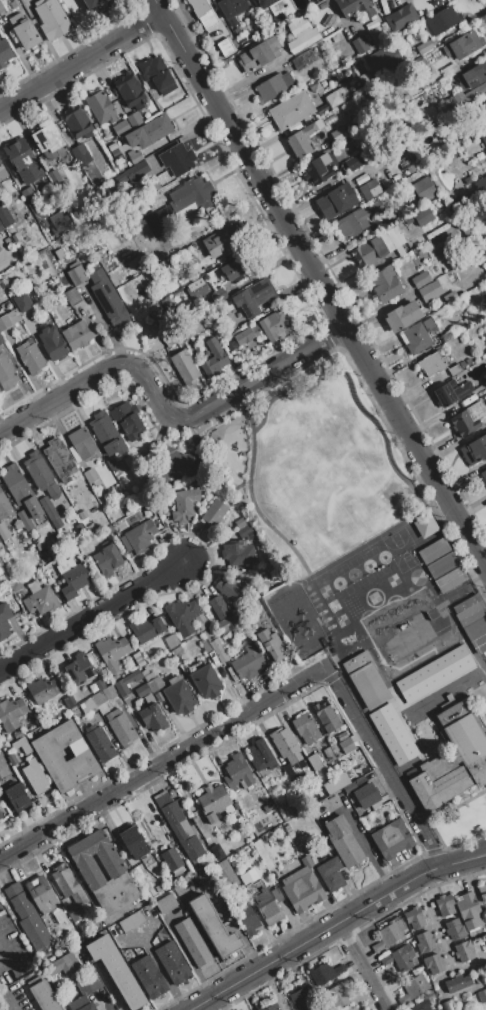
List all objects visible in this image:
building: (314, 2)
building: (436, 2)
building: (264, 3)
building: (12, 4)
building: (96, 5)
building: (199, 7)
building: (355, 7)
building: (2, 8)
road: (159, 8)
building: (232, 9)
building: (401, 17)
building: (52, 19)
building: (279, 19)
building: (328, 20)
building: (442, 20)
building: (204, 21)
building: (219, 26)
building: (24, 31)
road: (174, 33)
building: (301, 34)
building: (273, 42)
building: (358, 45)
building: (463, 45)
building: (423, 47)
building: (232, 51)
building: (4, 52)
building: (384, 56)
building: (254, 57)
road: (81, 64)
building: (450, 70)
building: (157, 74)
building: (475, 74)
building: (453, 84)
building: (273, 87)
building: (130, 91)
building: (312, 97)
building: (335, 97)
building: (466, 97)
building: (485, 103)
building: (101, 108)
building: (291, 111)
building: (133, 119)
building: (77, 122)
building: (119, 127)
building: (156, 127)
building: (338, 134)
building: (137, 137)
building: (303, 138)
building: (483, 138)
building: (47, 139)
building: (80, 155)
building: (134, 155)
building: (177, 159)
building: (23, 161)
building: (356, 161)
building: (403, 163)
building: (317, 169)
building: (410, 169)
building: (136, 171)
building: (2, 172)
building: (485, 176)
building: (370, 189)
building: (423, 189)
building: (192, 192)
building: (31, 200)
building: (336, 200)
building: (41, 215)
building: (4, 216)
building: (423, 216)
building: (359, 220)
building: (408, 220)
building: (159, 221)
building: (59, 223)
building: (43, 224)
building: (1, 228)
building: (436, 231)
building: (395, 236)
building: (220, 243)
building: (381, 244)
building: (59, 253)
building: (365, 254)
building: (235, 270)
building: (77, 275)
building: (420, 279)
building: (385, 284)
building: (195, 288)
building: (430, 290)
building: (221, 293)
building: (2, 294)
building: (72, 296)
building: (450, 296)
building: (253, 297)
building: (107, 298)
building: (85, 299)
building: (23, 301)
road: (336, 307)
building: (438, 314)
building: (402, 316)
building: (9, 319)
building: (192, 328)
building: (266, 329)
building: (76, 334)
building: (422, 335)
building: (1, 340)
building: (52, 342)
building: (30, 358)
building: (213, 358)
building: (468, 361)
building: (430, 364)
building: (463, 364)
building: (184, 367)
building: (454, 369)
building: (6, 373)
building: (444, 373)
building: (484, 377)
building: (451, 391)
road: (352, 392)
road: (165, 413)
building: (468, 418)
building: (127, 421)
building: (106, 434)
building: (81, 445)
building: (474, 450)
building: (60, 459)
building: (176, 461)
building: (111, 465)
park: (312, 467)
building: (42, 475)
building: (90, 475)
building: (484, 475)
building: (20, 490)
road: (249, 491)
building: (5, 507)
building: (182, 507)
building: (48, 508)
building: (214, 513)
building: (82, 514)
building: (23, 521)
building: (242, 522)
building: (56, 523)
building: (424, 525)
building: (90, 528)
building: (247, 532)
building: (5, 534)
building: (138, 537)
building: (21, 539)
building: (0, 540)
building: (0, 547)
building: (237, 553)
building: (107, 560)
road: (321, 568)
building: (72, 577)
building: (14, 586)
building: (226, 589)
building: (40, 599)
building: (466, 603)
building: (218, 607)
building: (471, 613)
road: (92, 615)
building: (183, 616)
building: (4, 621)
building: (422, 627)
building: (146, 628)
building: (475, 628)
building: (407, 635)
building: (271, 644)
building: (393, 644)
building: (479, 644)
building: (205, 645)
building: (218, 650)
building: (112, 651)
building: (247, 661)
building: (80, 669)
building: (147, 673)
building: (435, 674)
building: (366, 679)
building: (207, 680)
building: (127, 682)
building: (155, 684)
building: (43, 690)
building: (142, 690)
building: (179, 697)
building: (98, 698)
building: (11, 713)
building: (90, 716)
building: (153, 716)
building: (326, 717)
building: (120, 725)
building: (305, 729)
building: (393, 734)
building: (99, 743)
building: (22, 745)
building: (285, 745)
building: (346, 745)
building: (50, 756)
building: (261, 756)
building: (453, 757)
building: (12, 759)
road: (162, 762)
building: (314, 762)
road: (384, 767)
building: (238, 774)
building: (35, 776)
building: (0, 778)
building: (360, 780)
building: (336, 782)
building: (349, 786)
building: (366, 795)
building: (17, 796)
building: (213, 800)
building: (1, 815)
building: (178, 825)
building: (392, 839)
building: (133, 841)
building: (343, 841)
building: (217, 851)
building: (264, 855)
building: (95, 857)
building: (171, 858)
building: (331, 874)
building: (302, 887)
building: (70, 890)
building: (116, 892)
building: (482, 892)
building: (41, 894)
building: (263, 896)
building: (165, 903)
building: (445, 905)
building: (470, 911)
building: (27, 916)
building: (59, 917)
building: (415, 917)
building: (246, 918)
building: (132, 921)
building: (209, 924)
road: (334, 924)
building: (455, 928)
building: (389, 934)
building: (425, 941)
building: (192, 942)
road: (1, 946)
road: (1, 948)
building: (463, 951)
road: (5, 954)
building: (400, 957)
road: (4, 963)
building: (65, 963)
building: (173, 963)
building: (434, 963)
road: (362, 965)
building: (117, 970)
building: (324, 973)
building: (149, 977)
building: (480, 980)
building: (457, 983)
building: (414, 988)
building: (338, 994)
building: (482, 995)
building: (44, 996)
road: (5, 1000)
building: (299, 1000)
building: (419, 1005)
building: (449, 1005)
building: (87, 1006)
building: (270, 1007)
building: (3, 1009)
building: (368, 1009)
road: (386, 1009)

